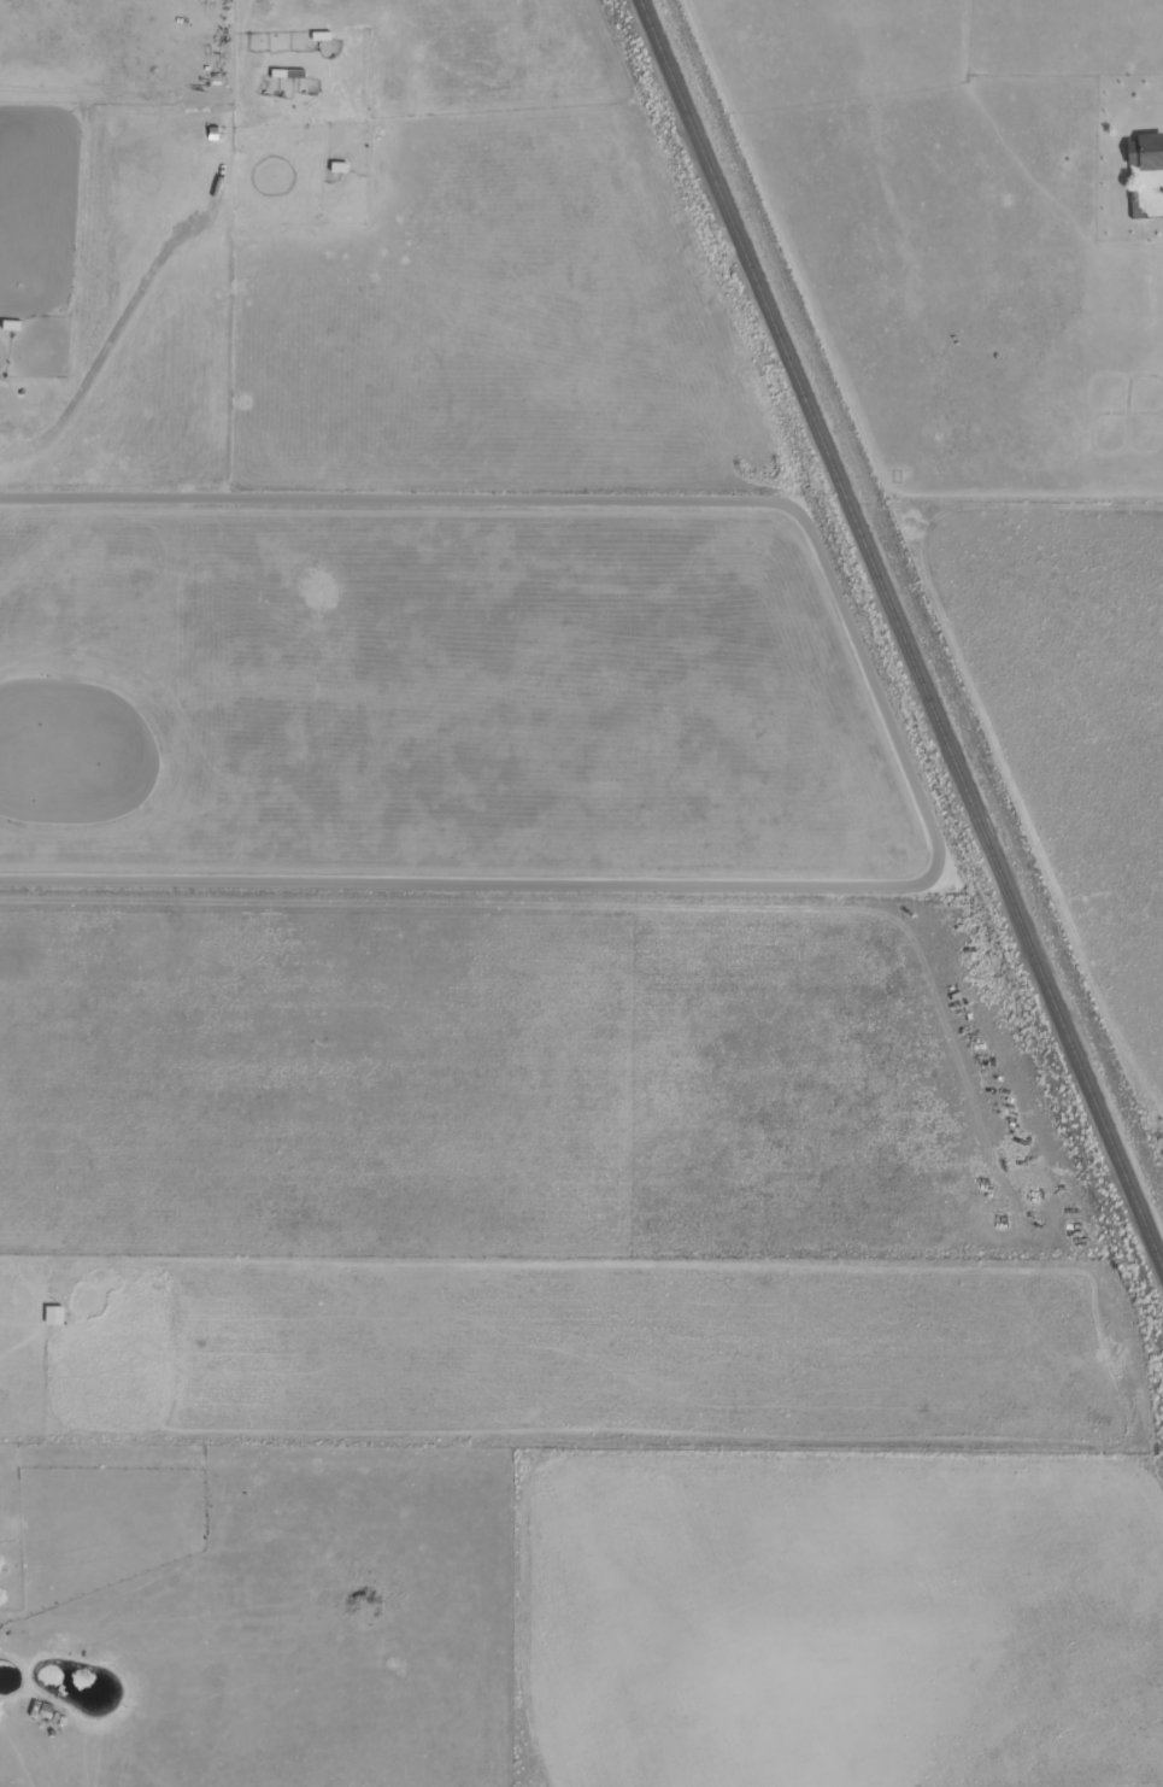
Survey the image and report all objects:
building: (1145, 151)
railway: (903, 632)

